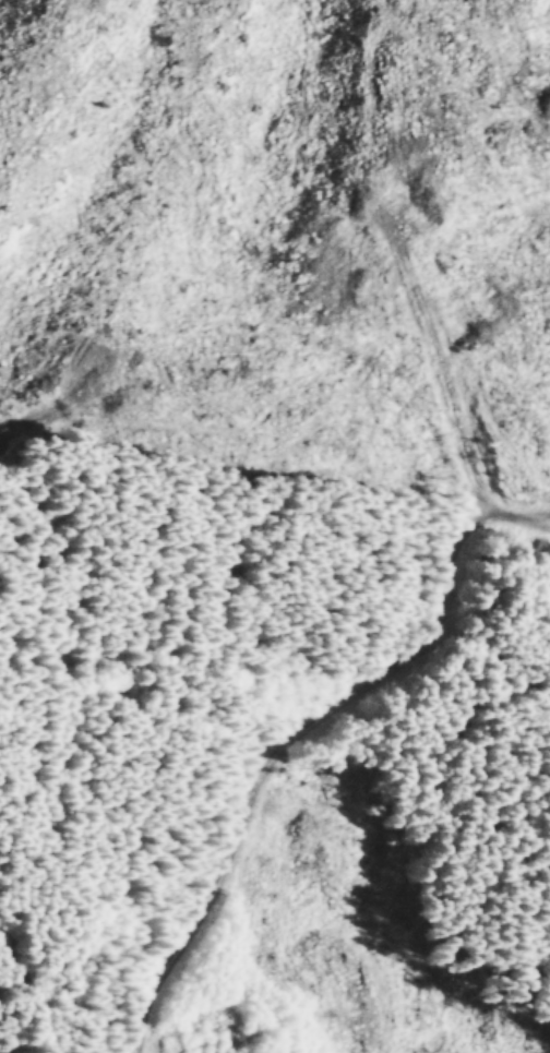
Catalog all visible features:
road: (311, 729)
road: (26, 961)
quarry: (199, 1028)
road: (136, 1037)

